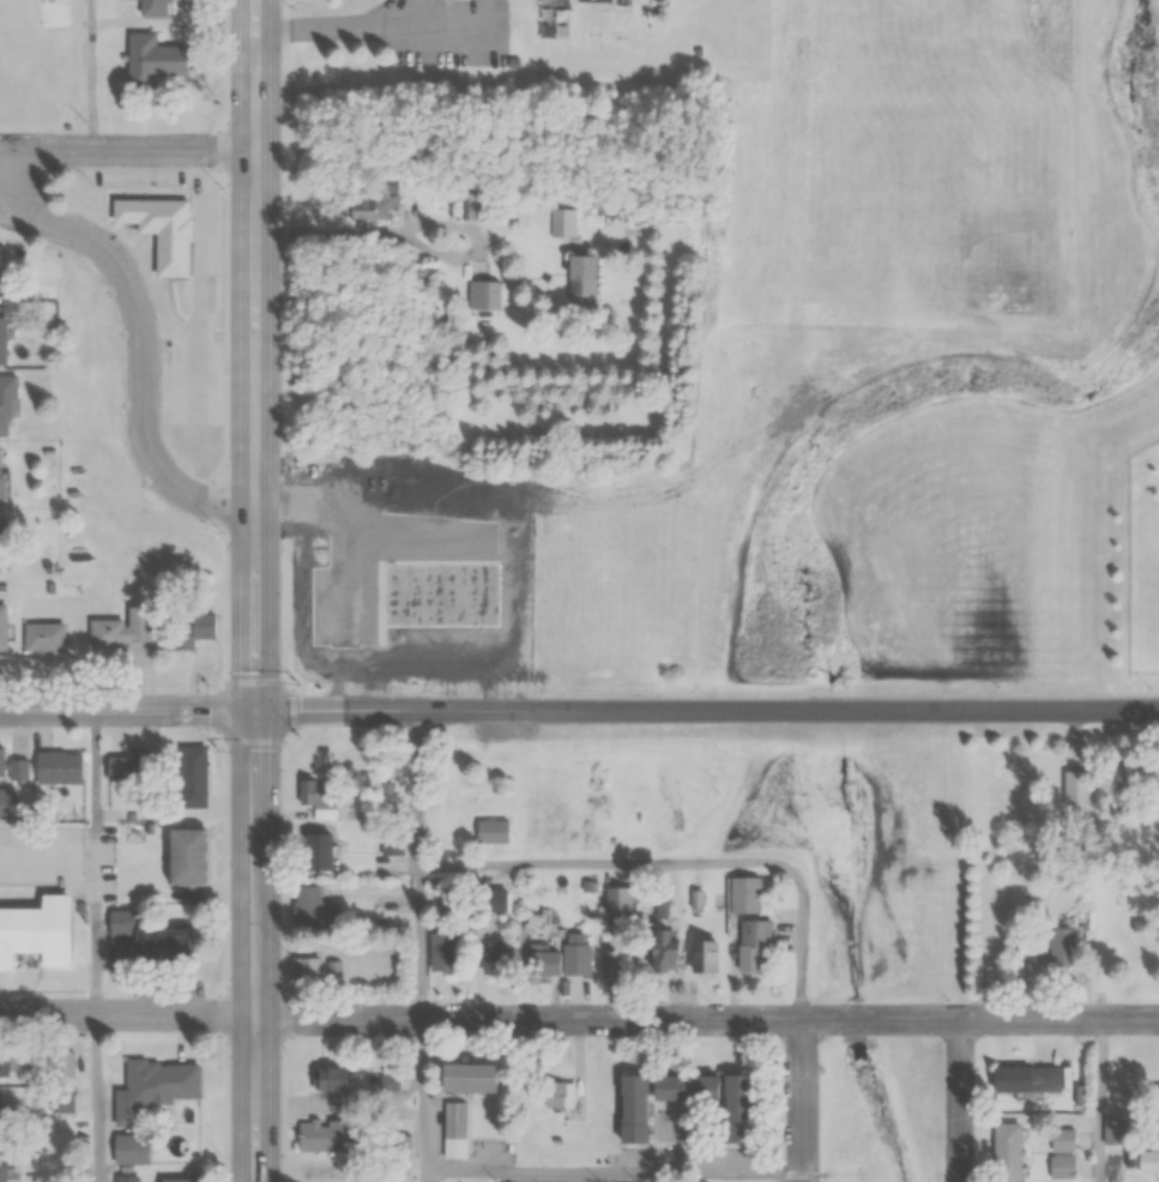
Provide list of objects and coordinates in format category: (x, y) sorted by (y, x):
building: (152, 7)
building: (150, 60)
road: (90, 76)
road: (127, 151)
building: (562, 222)
building: (159, 231)
building: (0, 271)
building: (578, 276)
building: (482, 295)
building: (1, 336)
road: (145, 348)
building: (6, 400)
building: (0, 543)
road: (254, 591)
building: (138, 623)
building: (2, 627)
building: (186, 632)
building: (104, 634)
building: (42, 637)
road: (706, 710)
road: (127, 711)
building: (1, 760)
building: (129, 765)
building: (56, 767)
building: (17, 768)
building: (189, 779)
building: (1076, 788)
road: (421, 790)
building: (320, 797)
building: (7, 802)
building: (493, 832)
building: (392, 842)
building: (315, 851)
parking lot: (42, 852)
building: (181, 856)
road: (96, 863)
road: (683, 863)
building: (742, 894)
building: (496, 899)
building: (618, 903)
building: (310, 910)
building: (36, 928)
building: (751, 942)
road: (422, 943)
building: (143, 945)
building: (1050, 945)
building: (664, 949)
building: (441, 952)
building: (704, 955)
building: (496, 958)
building: (575, 958)
building: (617, 959)
building: (542, 961)
building: (306, 967)
road: (579, 1019)
building: (4, 1061)
building: (463, 1077)
building: (161, 1078)
building: (1024, 1078)
building: (327, 1079)
building: (680, 1086)
building: (557, 1093)
road: (423, 1096)
road: (95, 1099)
road: (803, 1100)
road: (958, 1100)
road: (1099, 1100)
building: (630, 1106)
building: (732, 1106)
building: (1, 1116)
building: (454, 1129)
building: (321, 1135)
building: (402, 1145)
building: (127, 1148)
building: (1004, 1152)
building: (1147, 1160)
building: (1, 1166)
road: (614, 1174)
road: (424, 1177)
building: (125, 1178)
building: (176, 1180)

